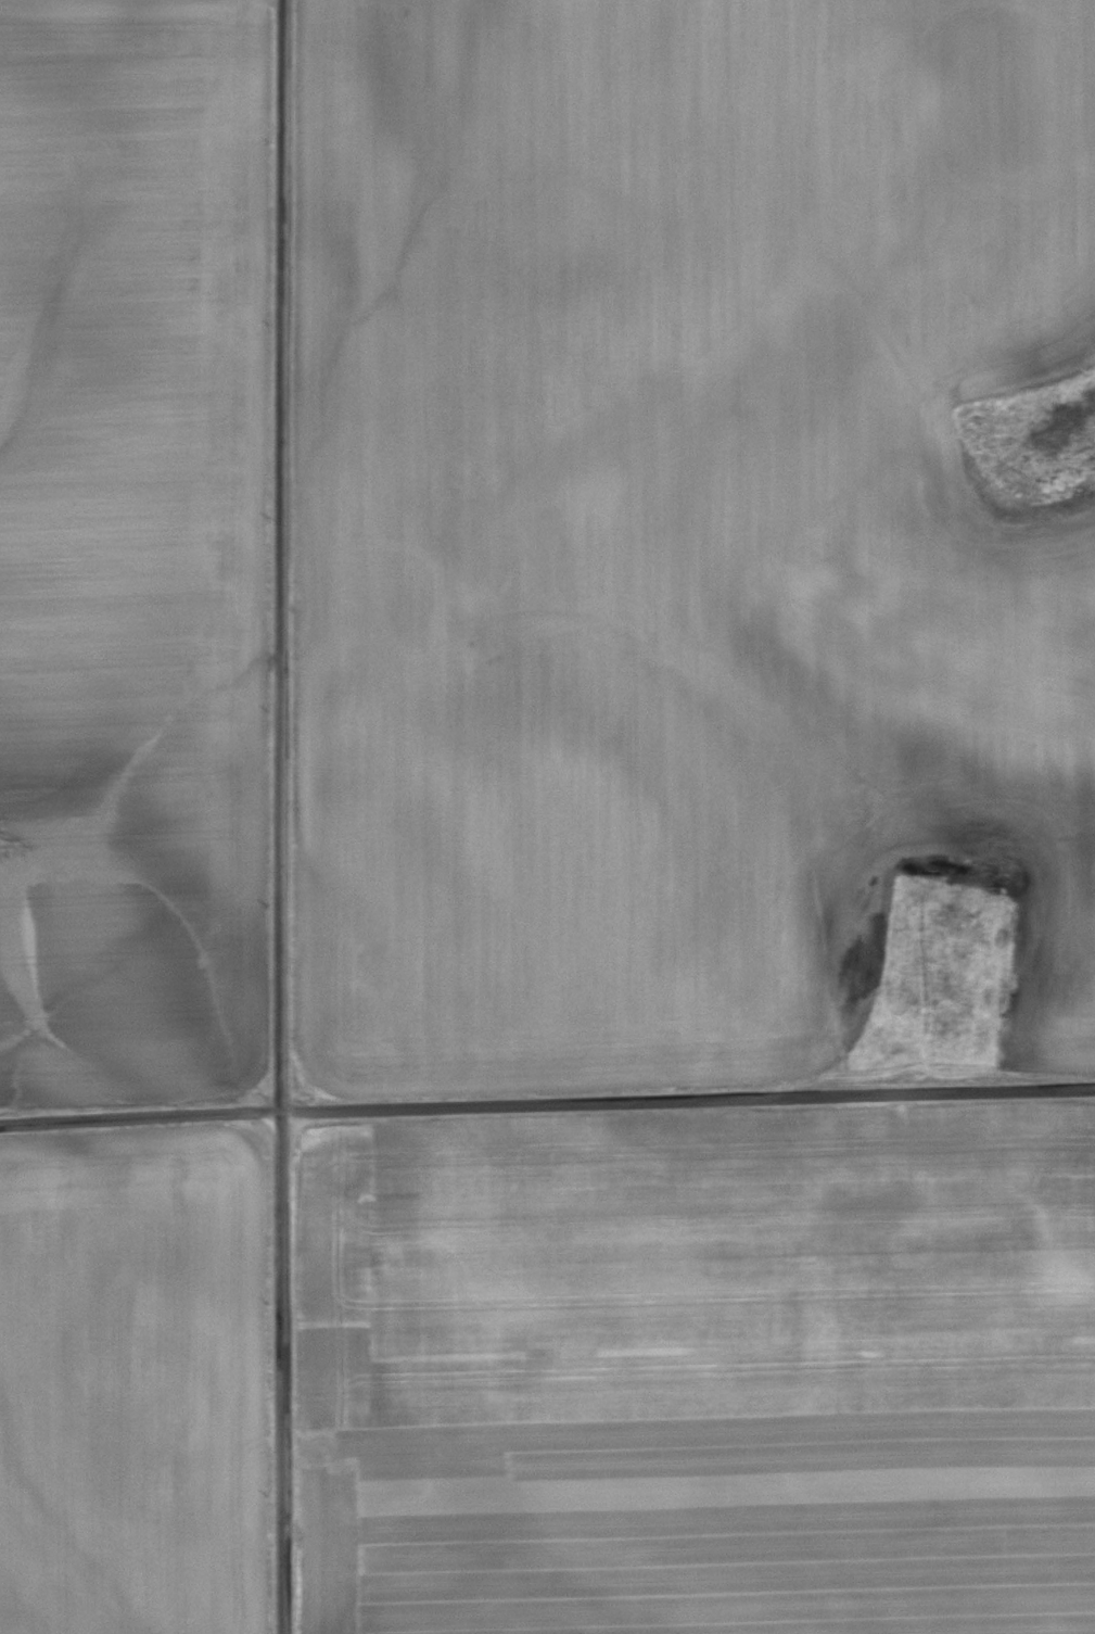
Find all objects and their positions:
road: (278, 816)
road: (547, 1105)

